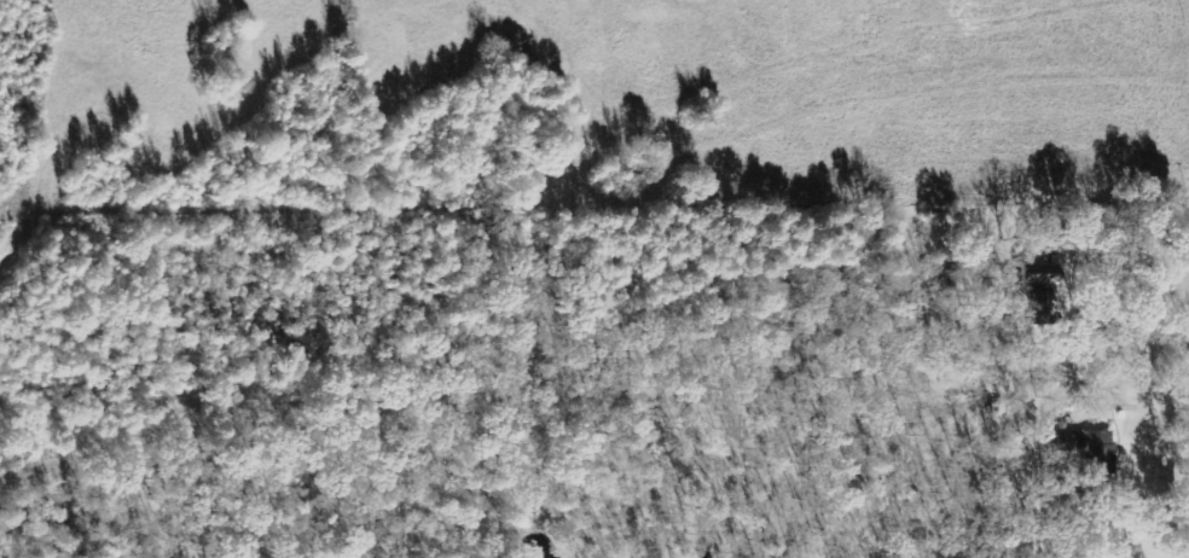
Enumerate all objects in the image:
building: (1086, 452)

